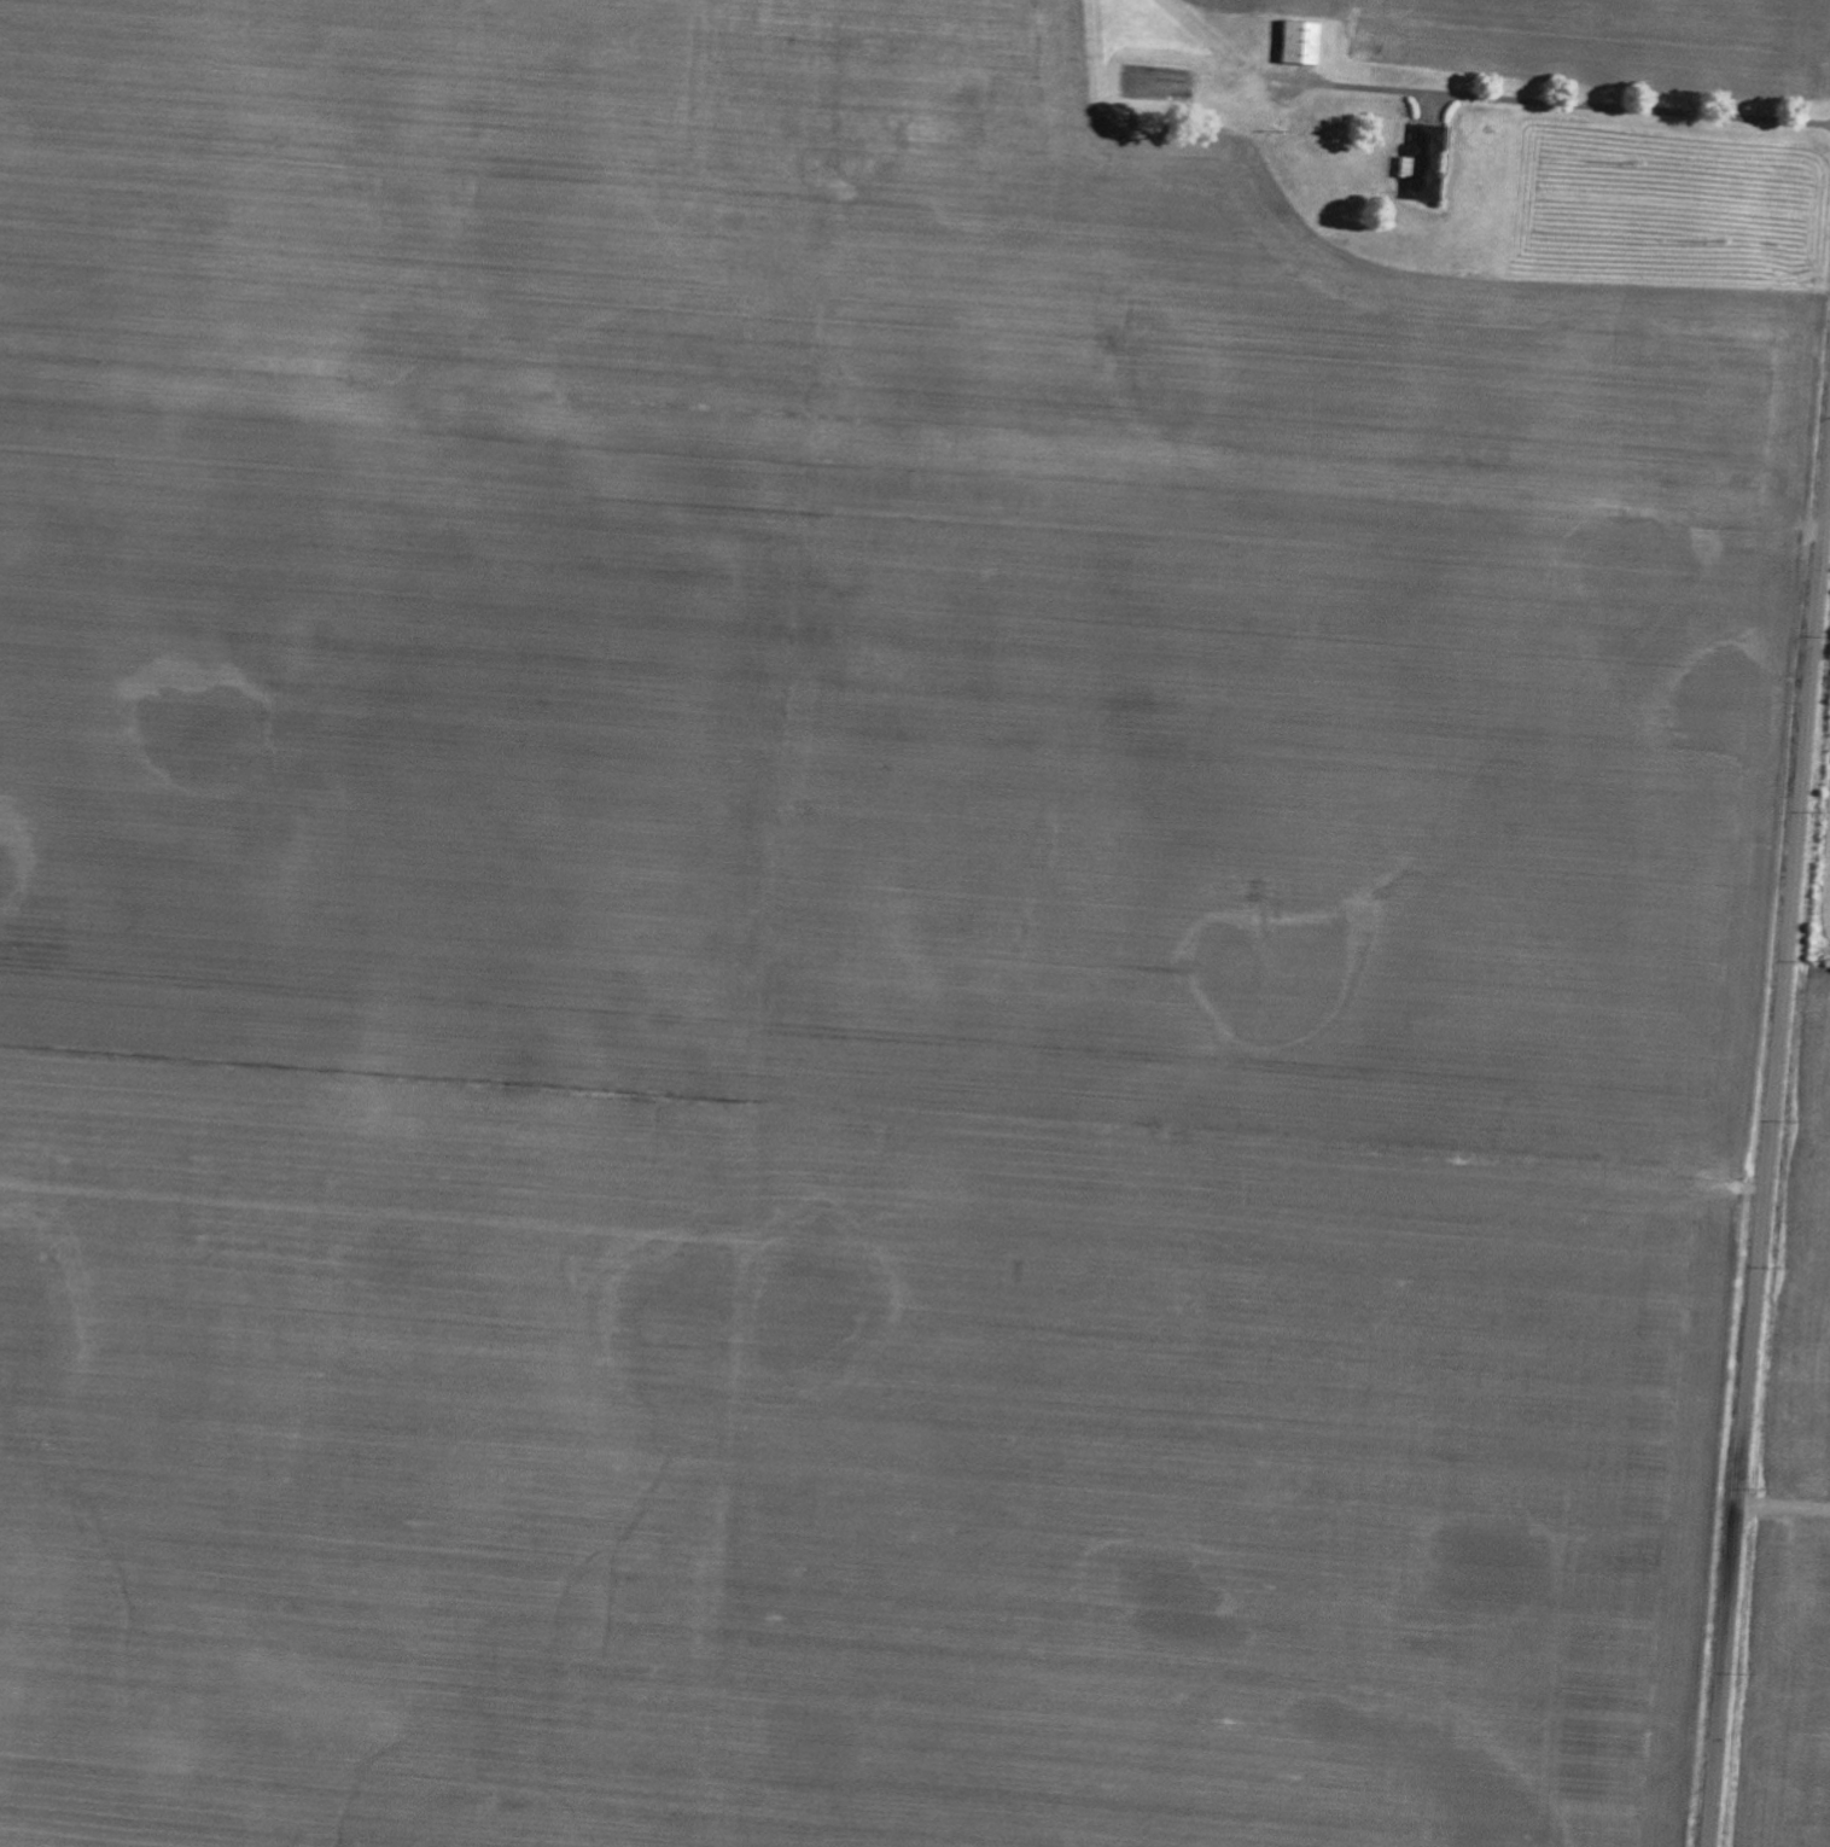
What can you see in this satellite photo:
building: (1301, 42)
building: (1424, 162)
road: (1767, 1152)
road: (1784, 1486)

